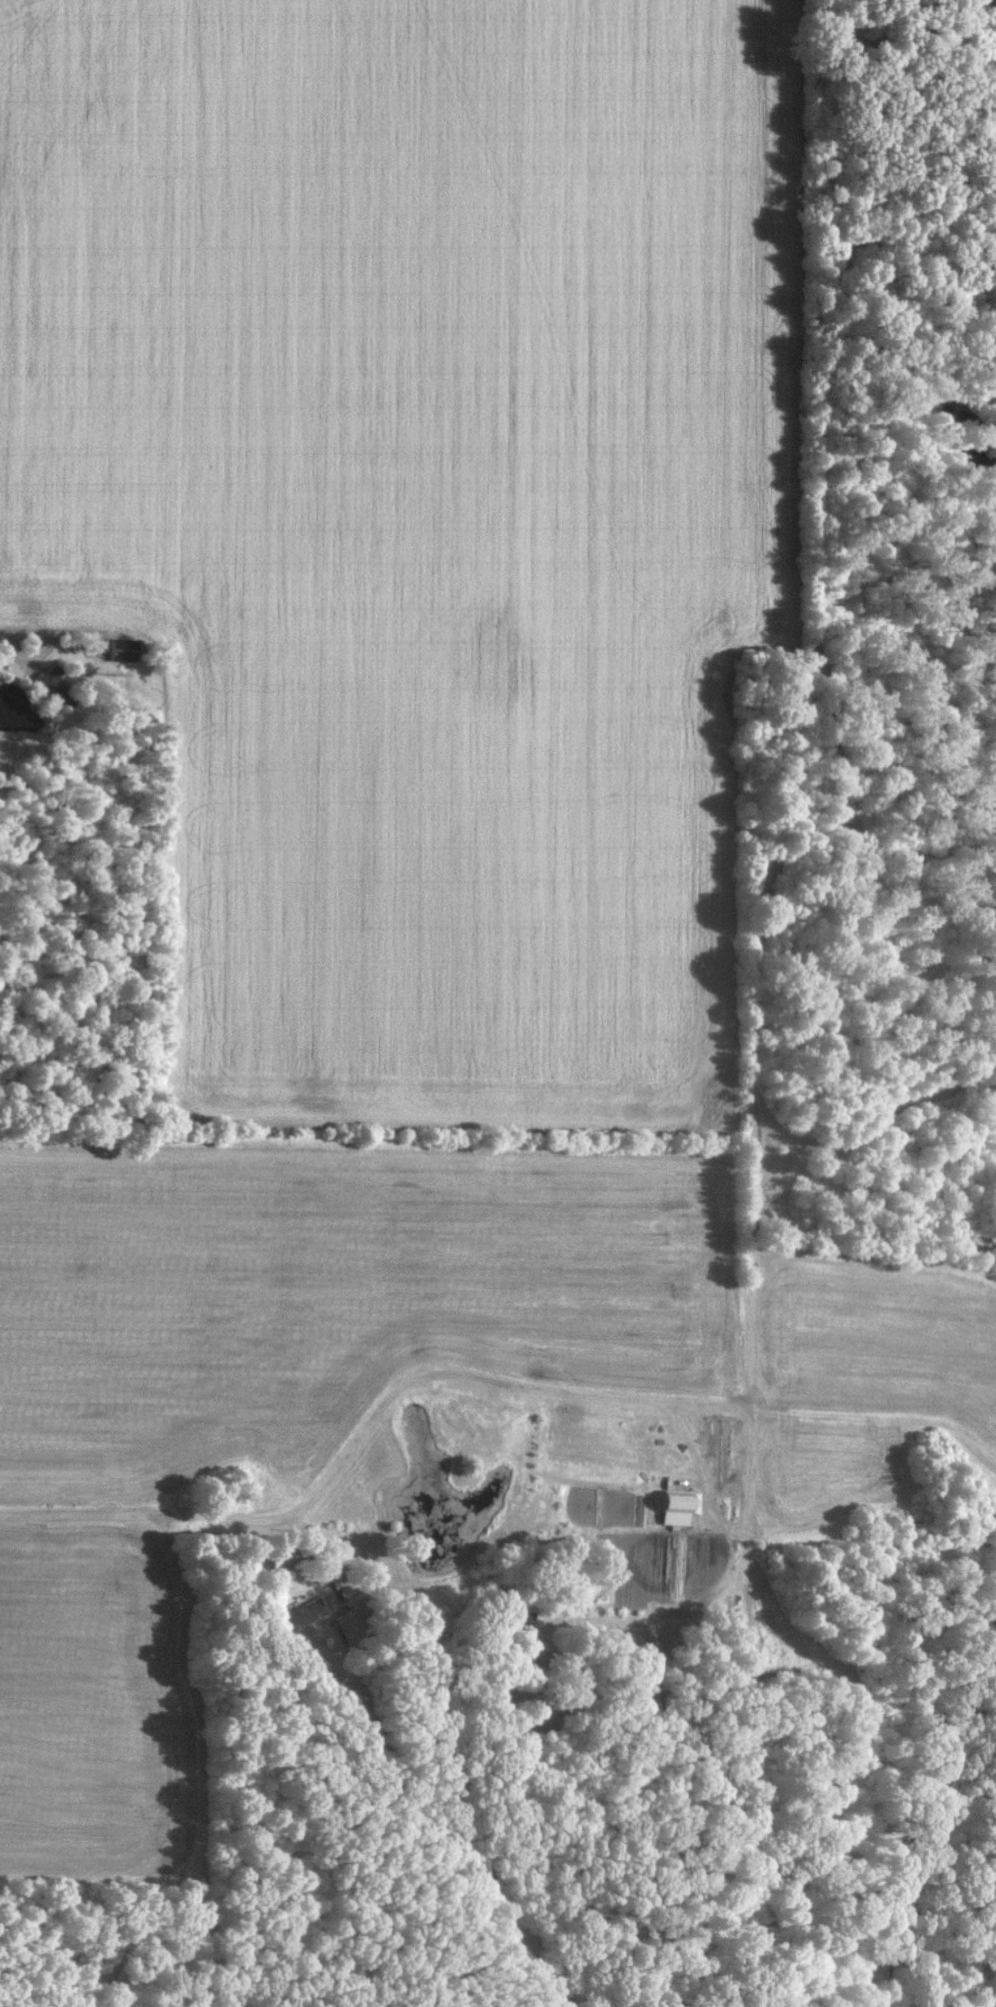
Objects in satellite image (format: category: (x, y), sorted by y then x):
road: (5, 634)
building: (124, 648)
road: (43, 652)
building: (54, 684)
road: (471, 1379)
road: (888, 1384)
building: (679, 1505)
road: (724, 1525)
building: (303, 1613)
building: (353, 1626)
road: (660, 1712)

